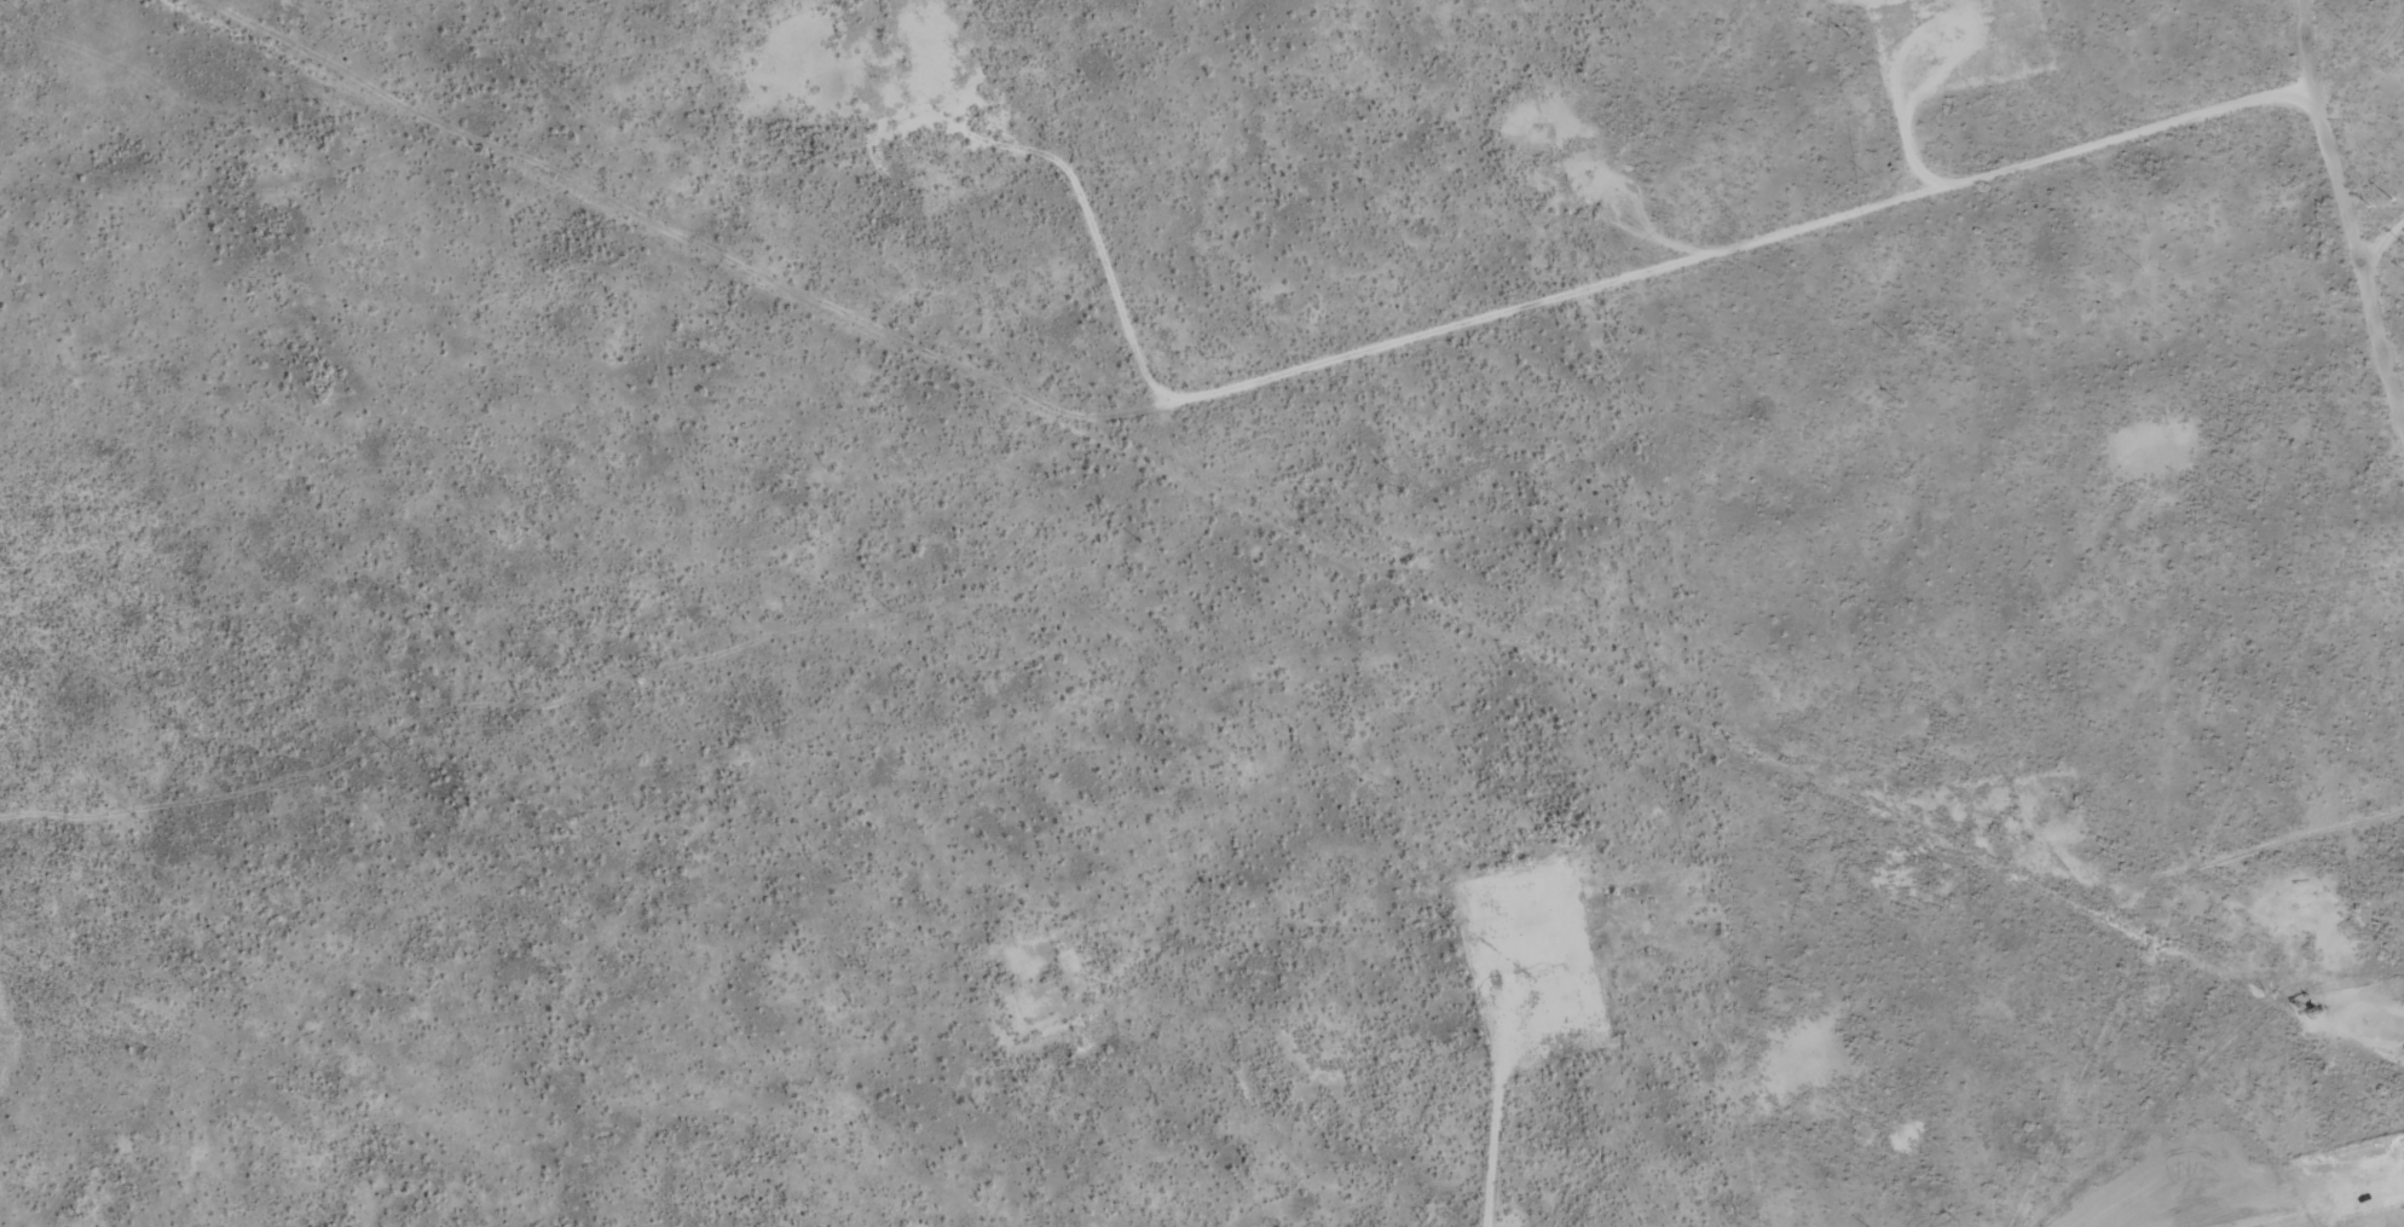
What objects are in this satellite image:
road: (2353, 181)

